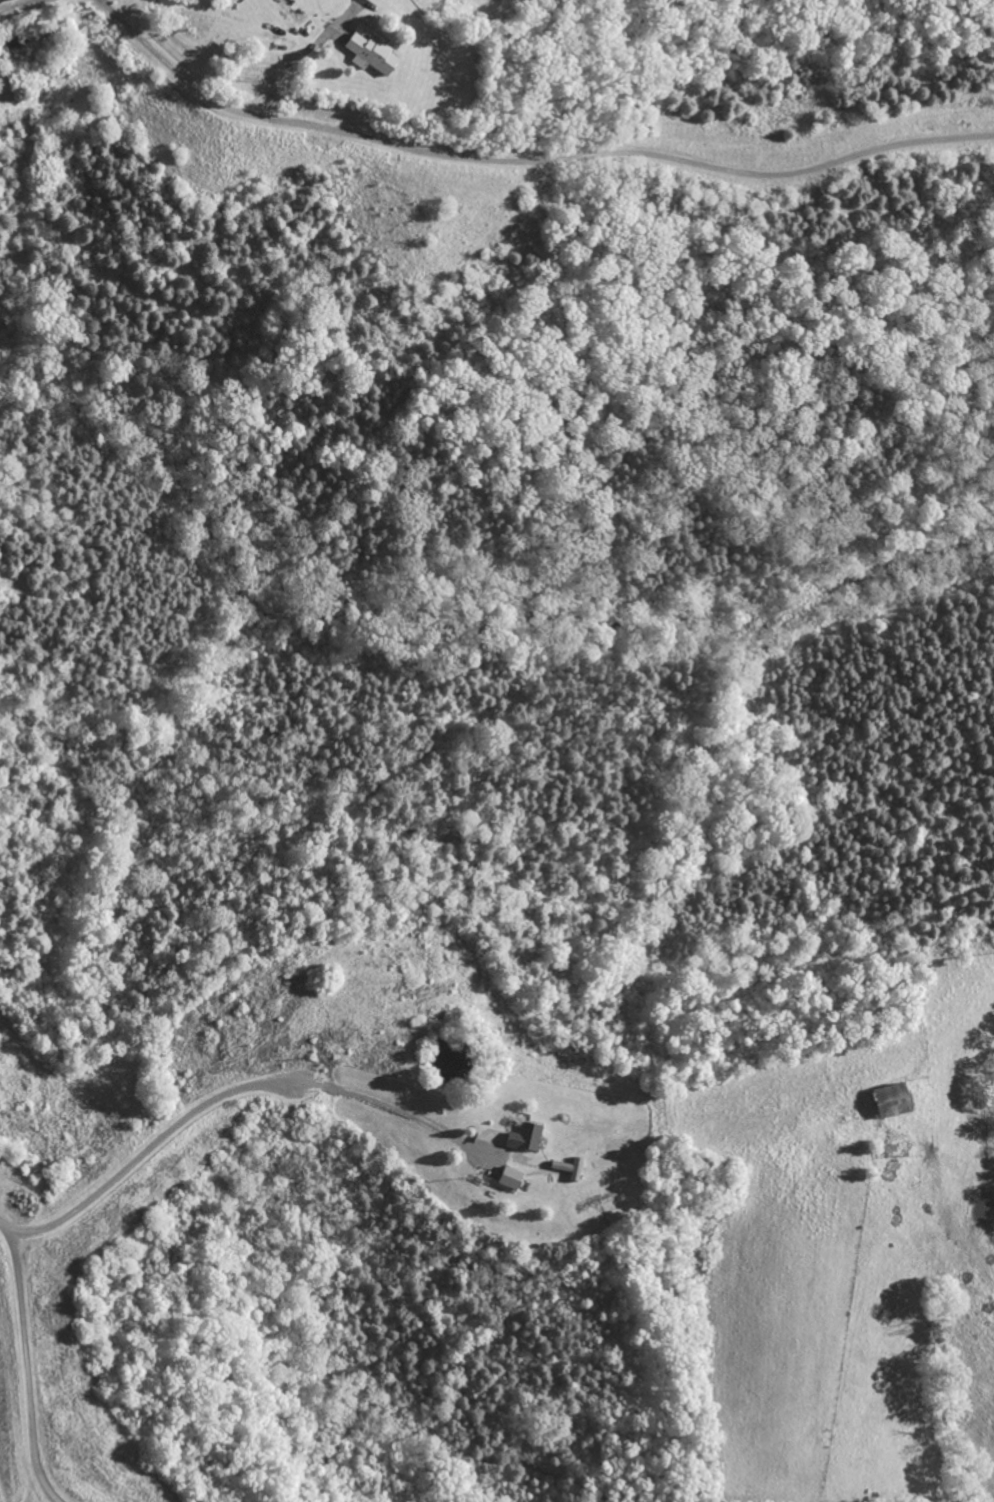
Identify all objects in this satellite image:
road: (21, 8)
road: (349, 10)
building: (367, 54)
road: (527, 160)
building: (887, 1101)
road: (391, 1106)
building: (521, 1136)
road: (150, 1150)
building: (506, 1177)
road: (22, 1362)

